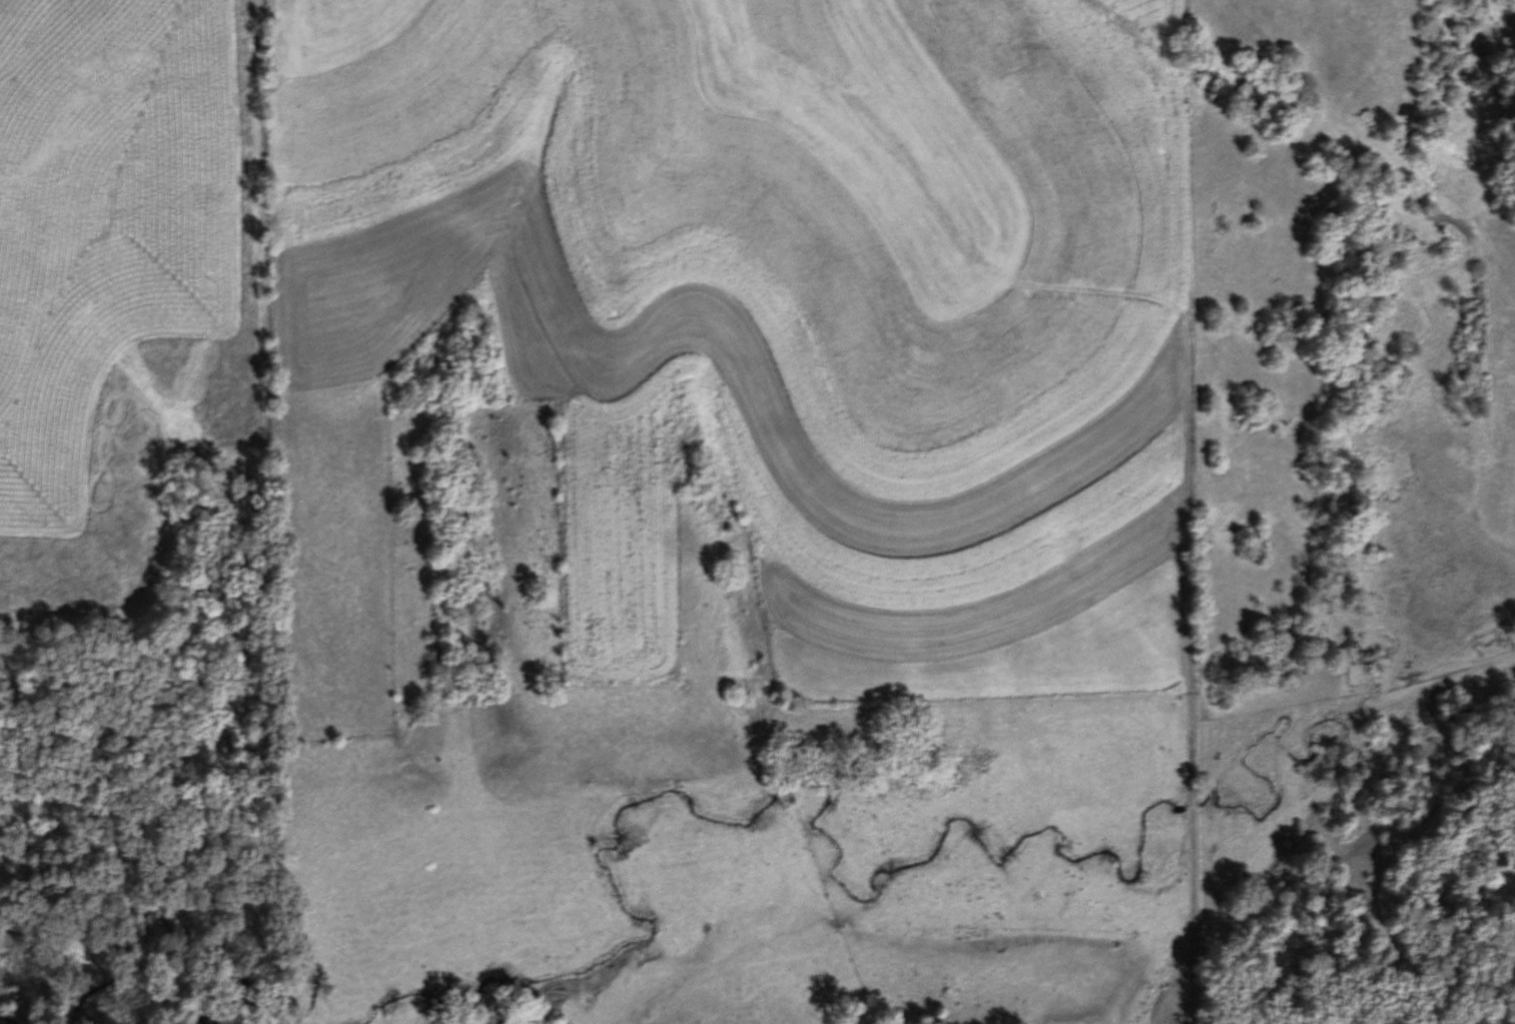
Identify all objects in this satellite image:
road: (1199, 784)

